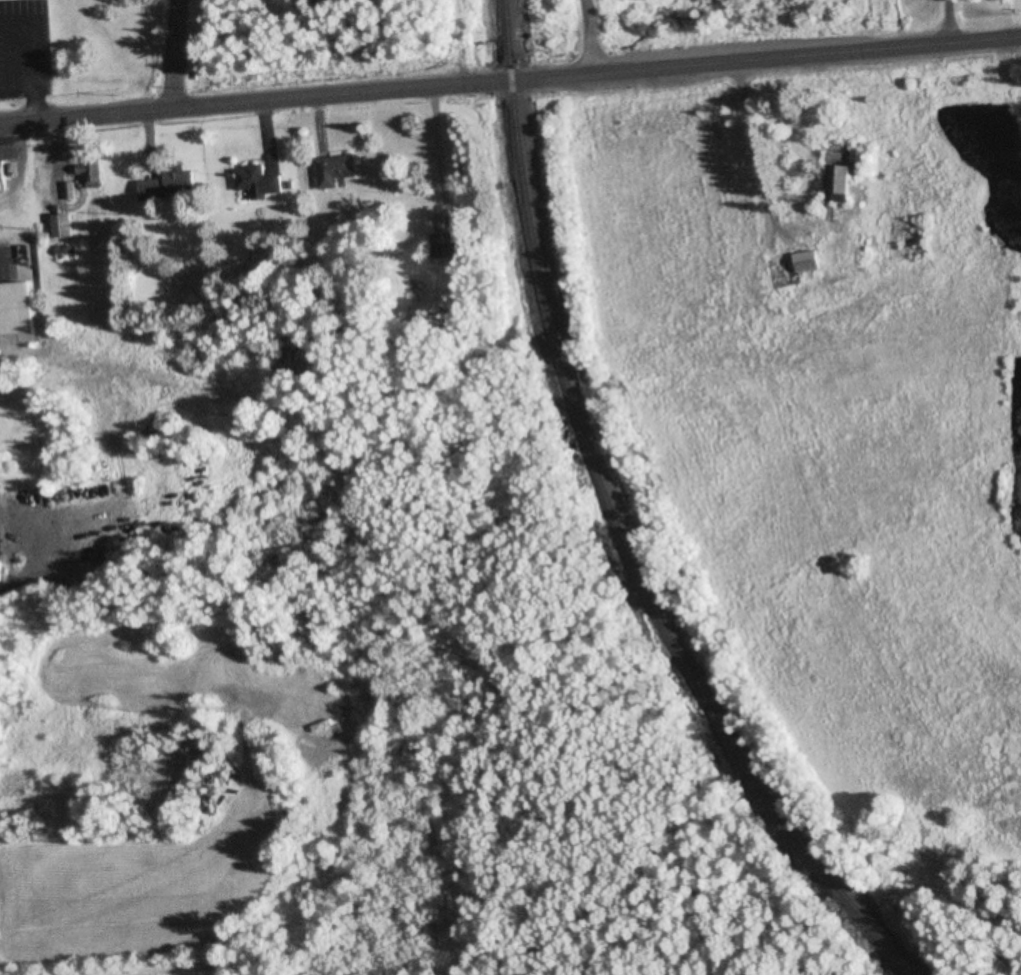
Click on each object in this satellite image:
road: (35, 36)
road: (589, 37)
parking lot: (24, 47)
road: (174, 53)
road: (510, 81)
road: (18, 89)
road: (37, 104)
building: (3, 170)
building: (338, 170)
building: (92, 174)
building: (851, 177)
building: (259, 181)
building: (170, 186)
building: (61, 225)
building: (446, 245)
building: (811, 261)
building: (15, 307)
railway: (615, 528)
building: (1, 572)

